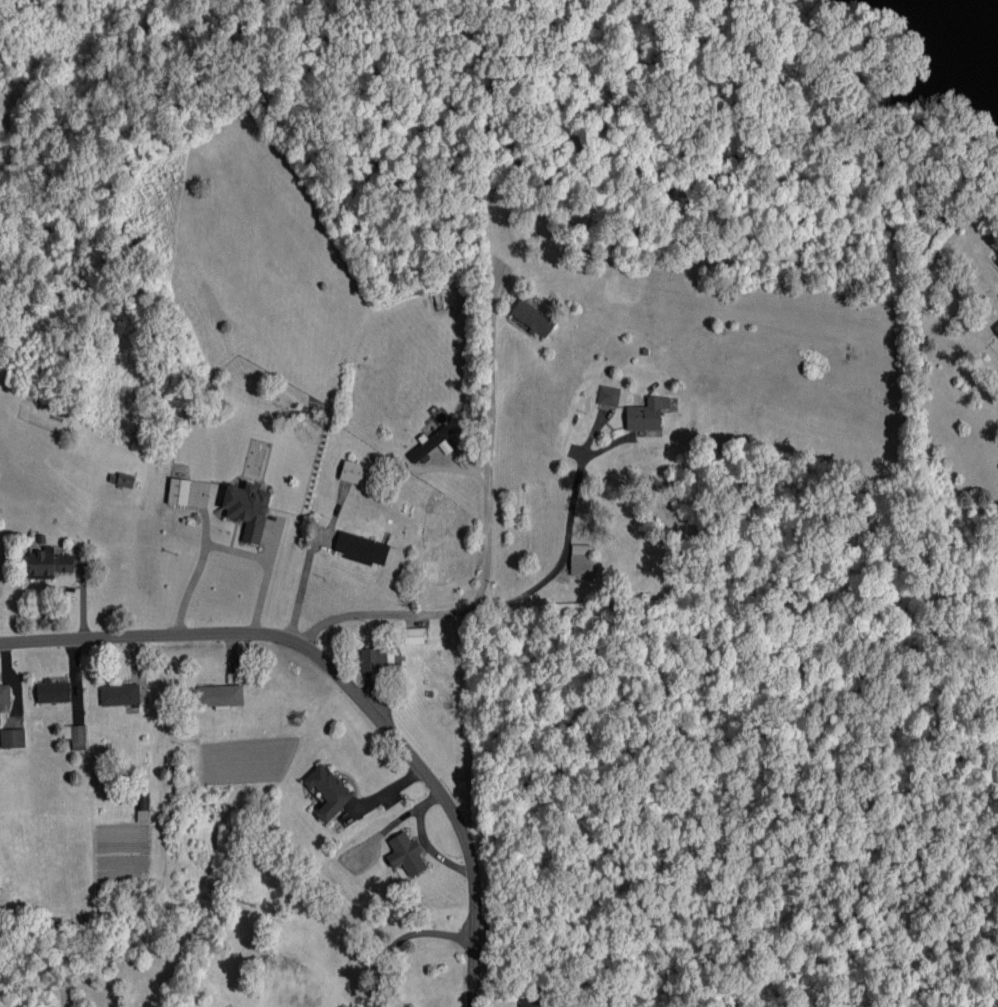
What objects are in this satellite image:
building: (997, 260)
building: (533, 318)
building: (996, 328)
building: (608, 395)
building: (647, 413)
building: (430, 443)
building: (354, 472)
building: (179, 491)
building: (247, 509)
road: (563, 541)
road: (226, 548)
building: (362, 548)
road: (482, 550)
building: (582, 559)
building: (48, 563)
road: (303, 583)
building: (415, 635)
building: (374, 659)
road: (347, 684)
building: (53, 691)
building: (4, 694)
building: (120, 694)
building: (220, 695)
building: (76, 736)
building: (13, 738)
building: (328, 791)
building: (143, 806)
building: (406, 854)
road: (400, 938)
building: (530, 1003)

